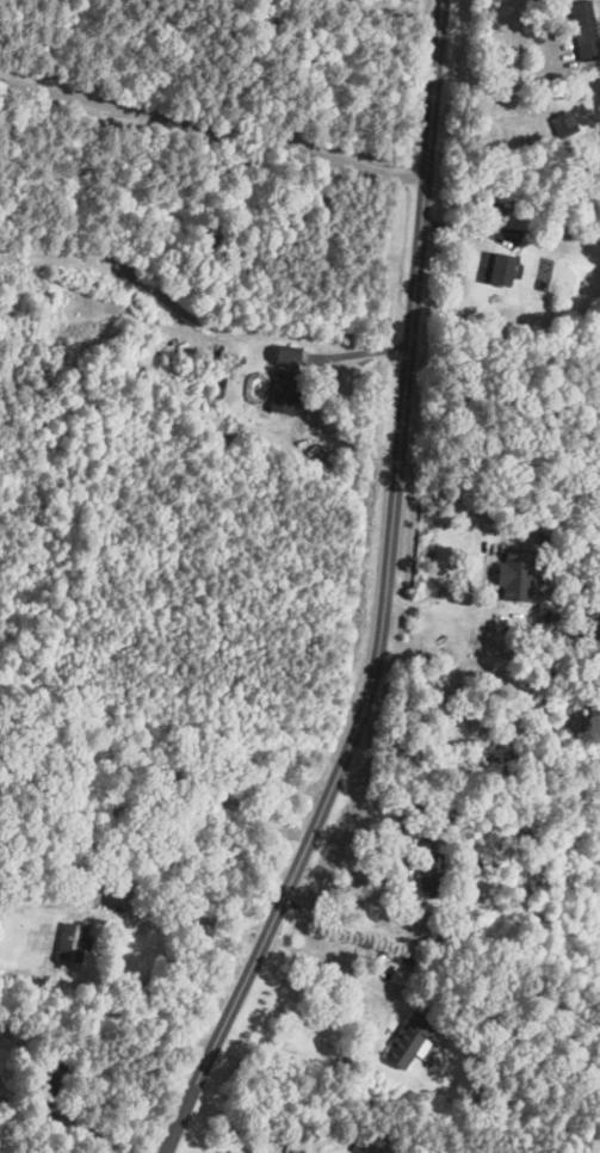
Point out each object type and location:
building: (580, 63)
road: (511, 86)
road: (210, 127)
building: (491, 209)
building: (493, 269)
building: (536, 275)
road: (203, 290)
building: (41, 312)
building: (287, 357)
building: (216, 386)
building: (284, 391)
road: (441, 554)
road: (386, 598)
building: (546, 616)
building: (574, 730)
building: (431, 875)
road: (426, 905)
road: (192, 915)
building: (72, 942)
road: (334, 961)
building: (403, 1040)
building: (49, 1083)
road: (93, 1132)

